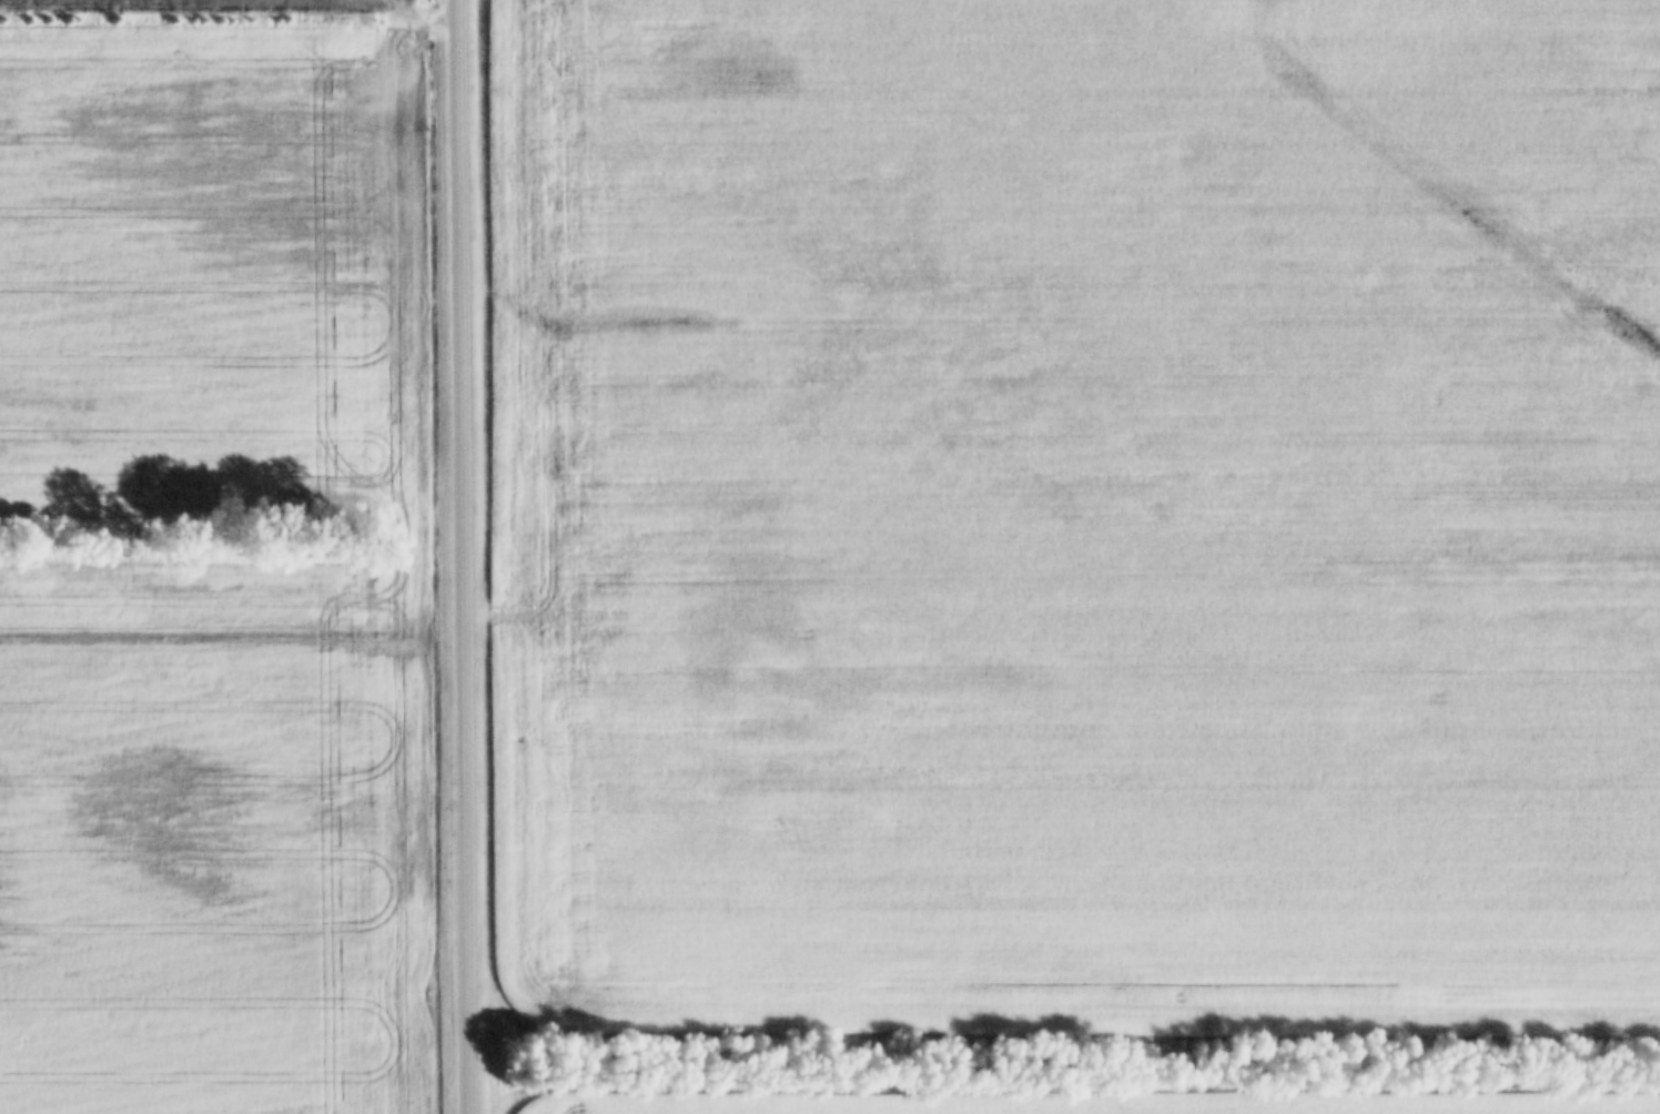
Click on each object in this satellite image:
road: (231, 8)
crop: (213, 11)
road: (470, 556)
crop: (213, 576)

